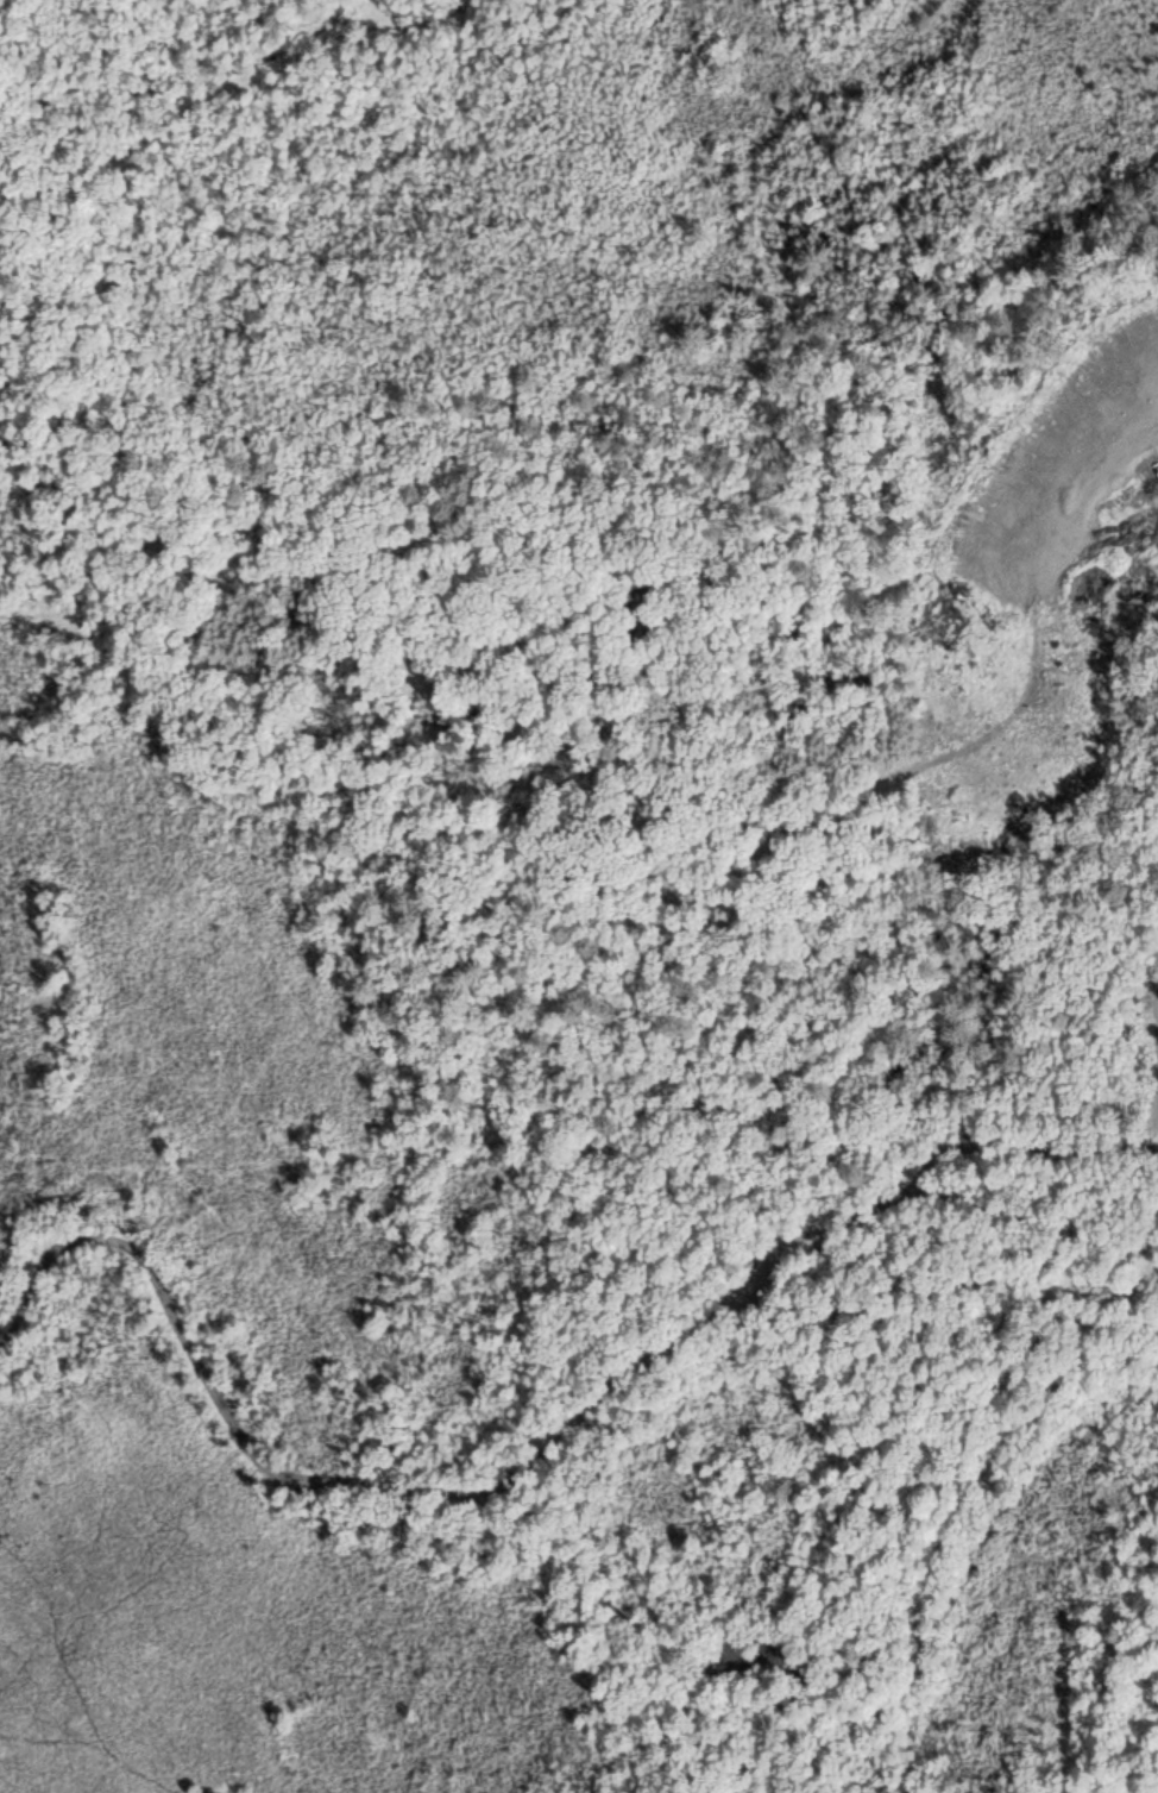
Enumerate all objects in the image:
road: (345, 29)
road: (535, 1463)

